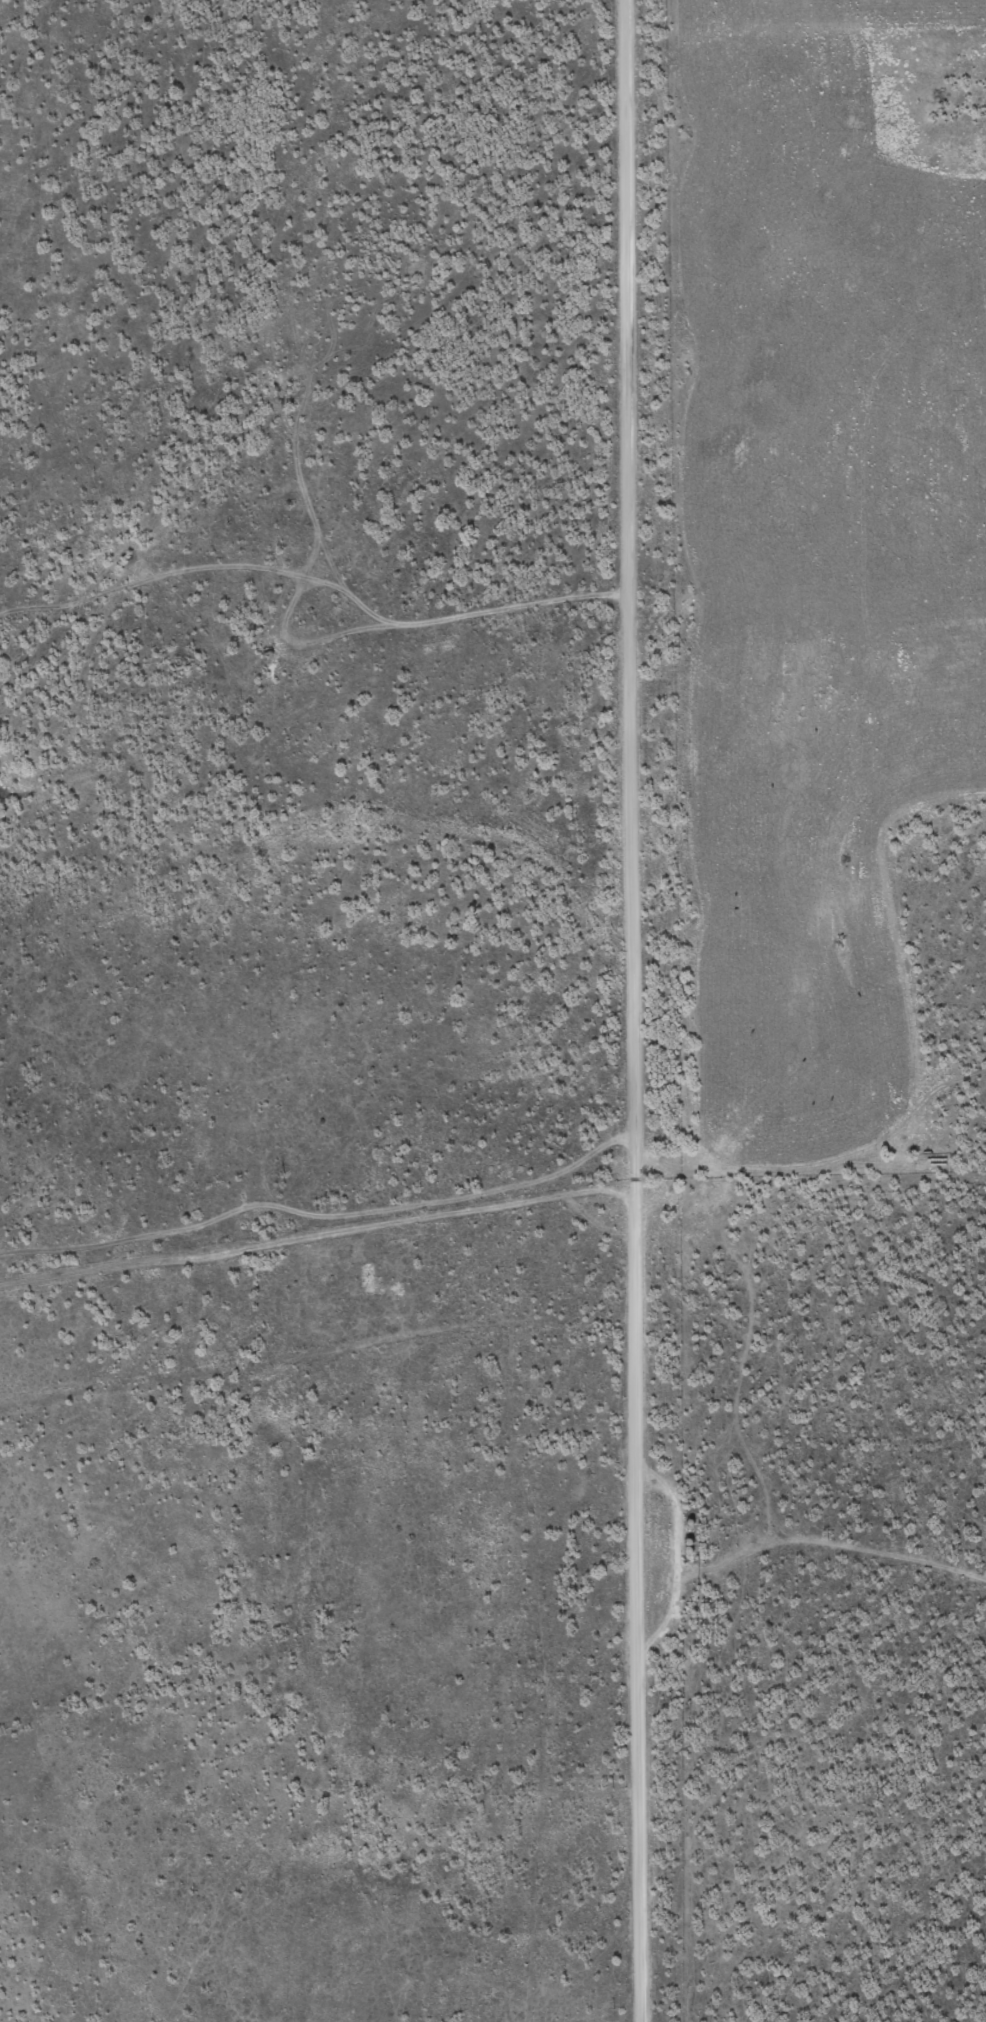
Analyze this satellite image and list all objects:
road: (623, 1011)
road: (265, 1236)

